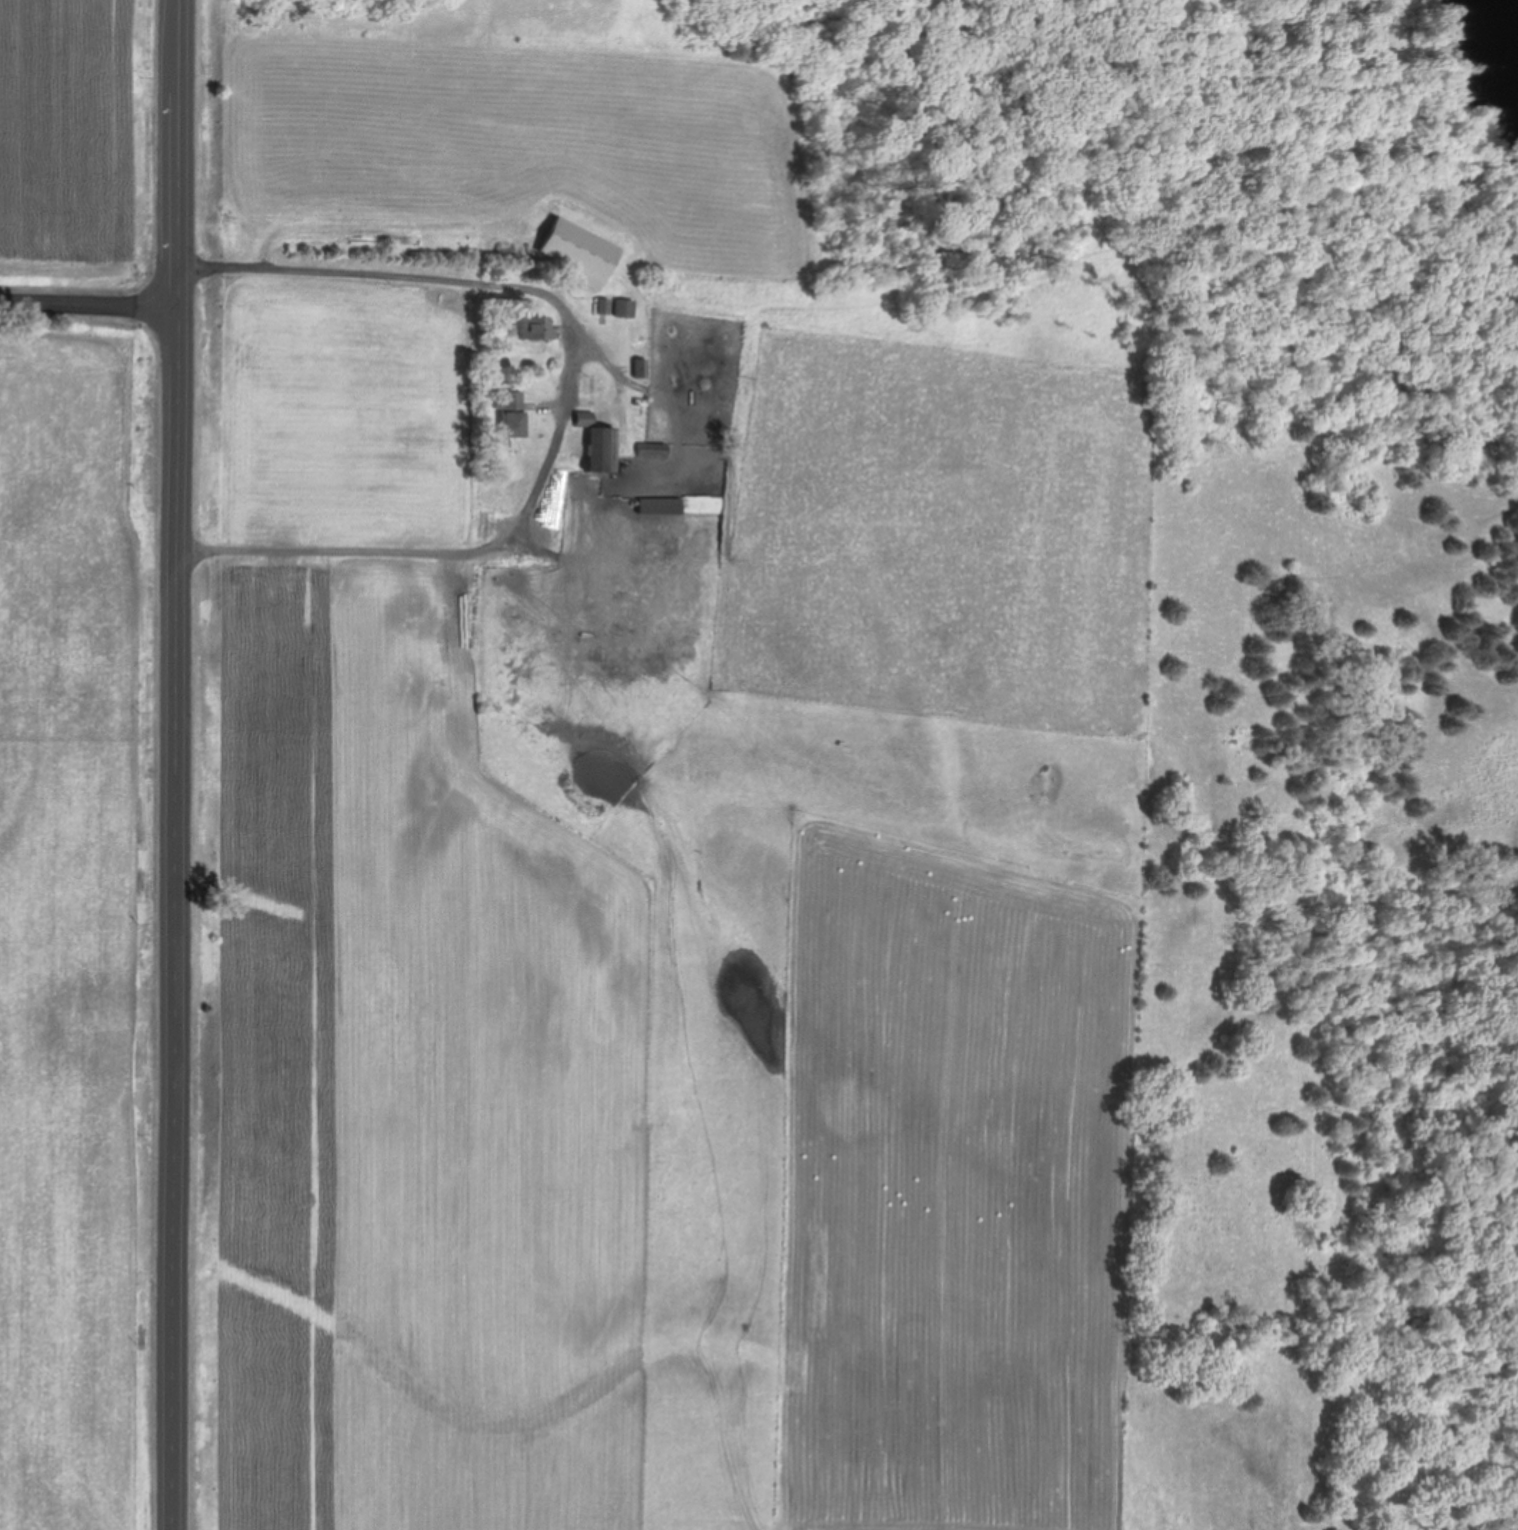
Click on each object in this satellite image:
road: (88, 305)
building: (602, 306)
building: (624, 308)
building: (535, 329)
building: (638, 368)
road: (565, 399)
building: (595, 443)
building: (652, 450)
building: (661, 506)
road: (178, 764)

